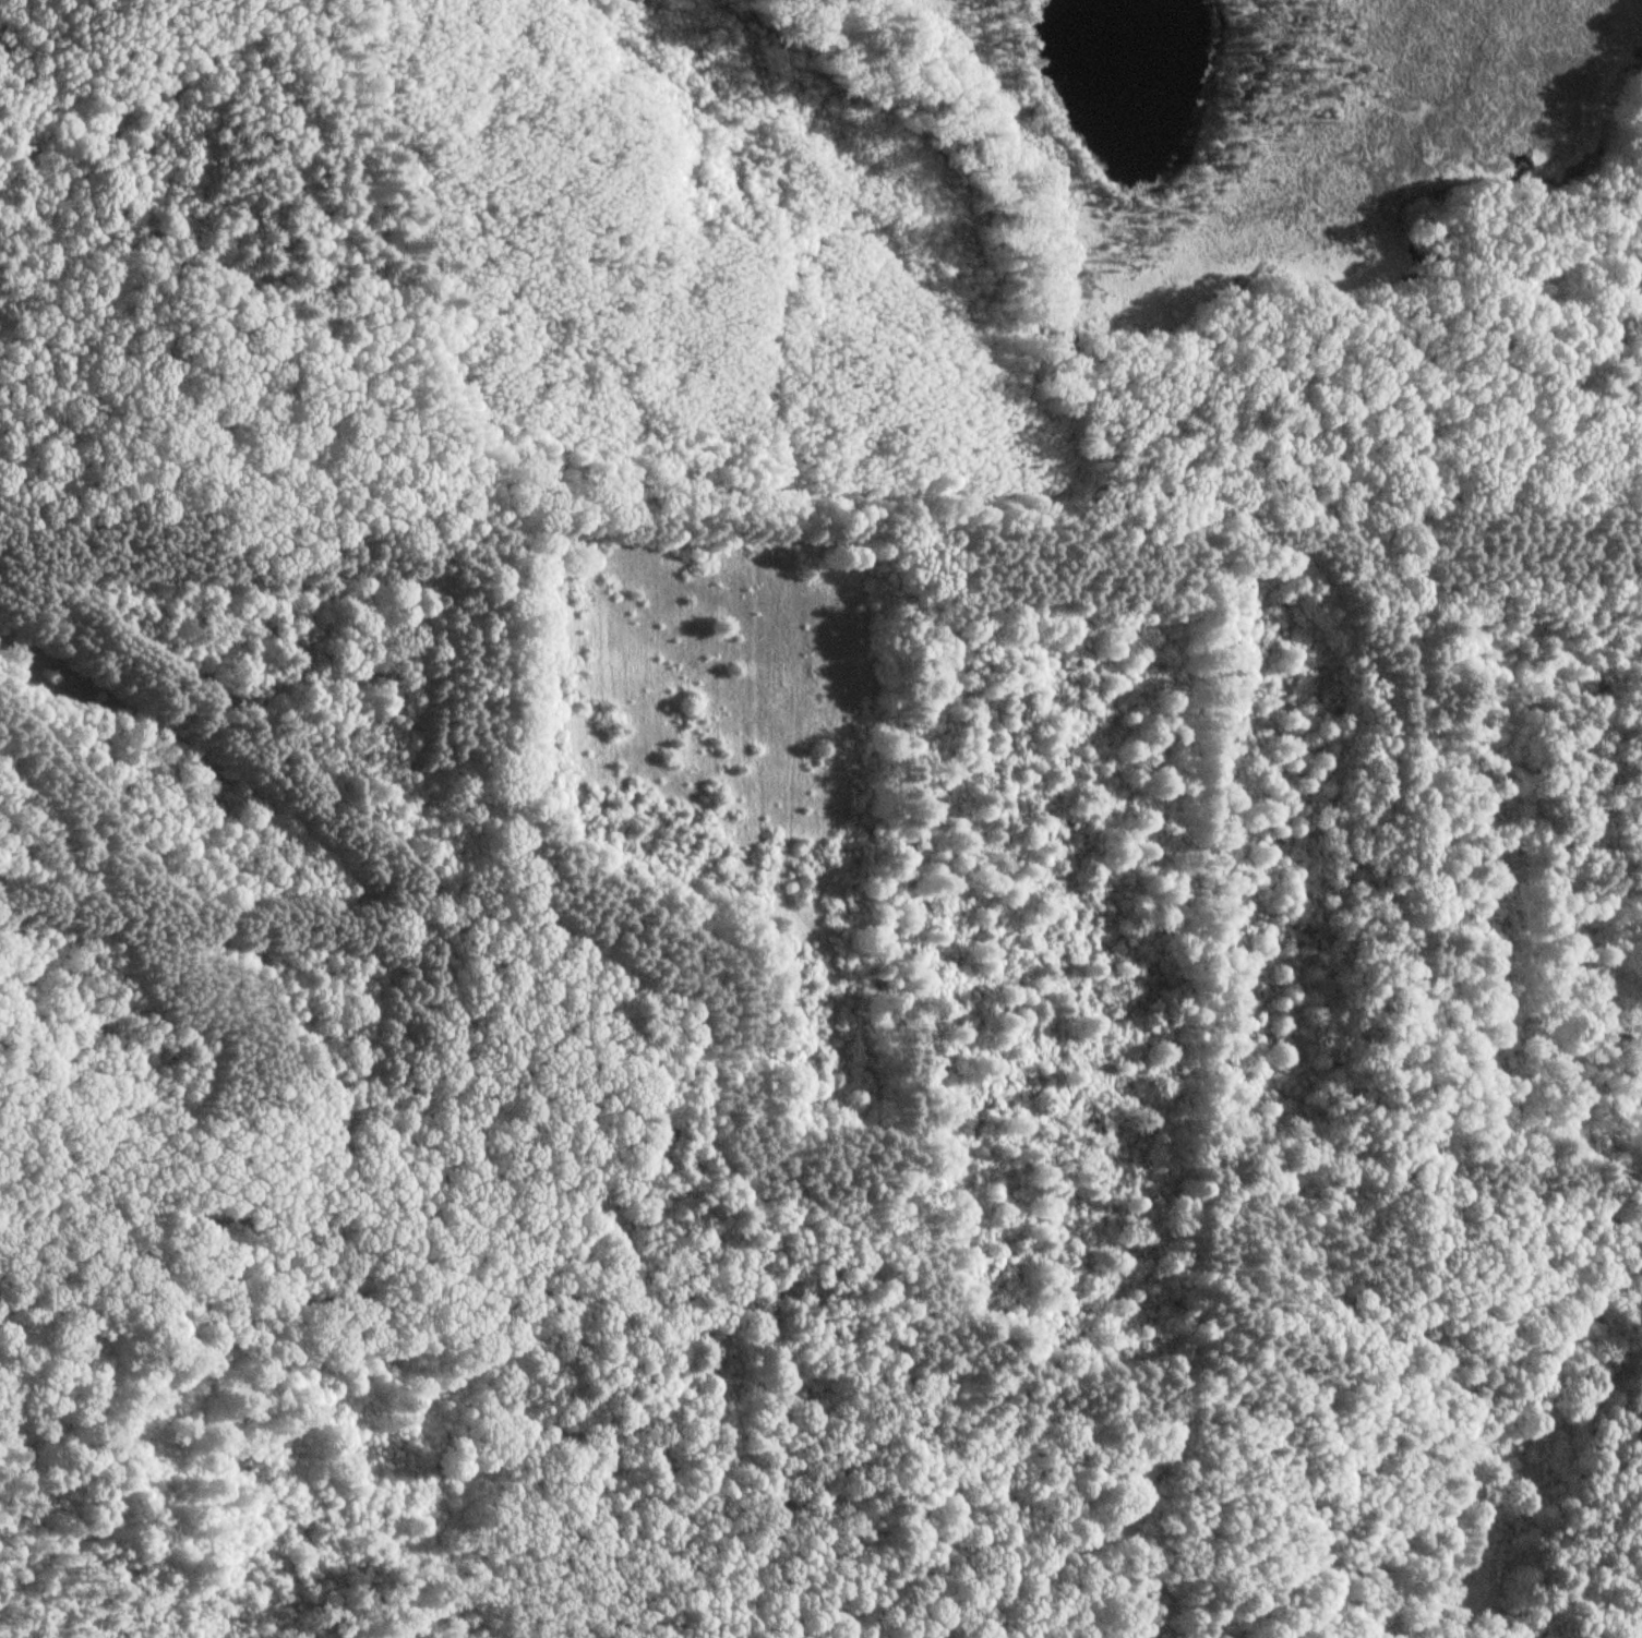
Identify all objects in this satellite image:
road: (149, 40)
road: (820, 491)

